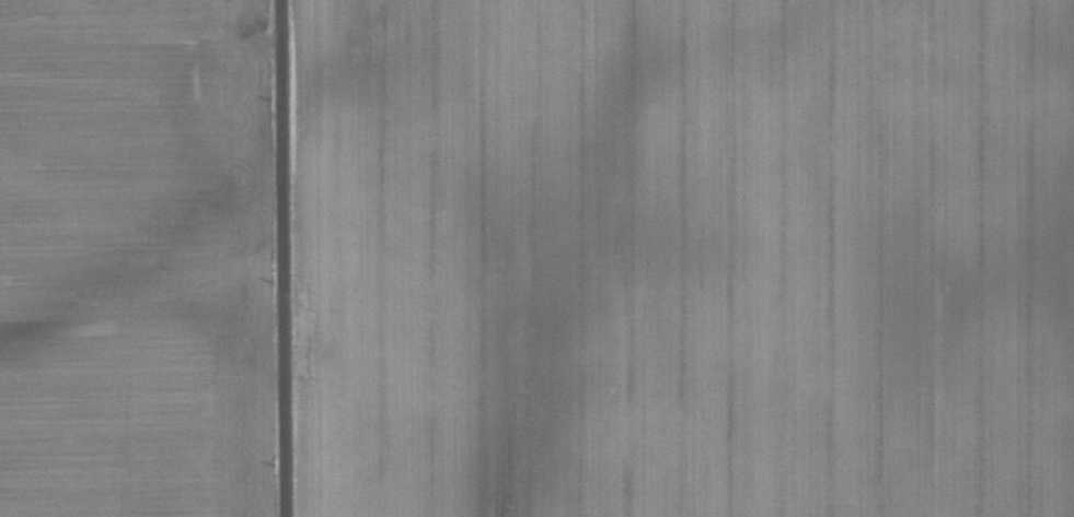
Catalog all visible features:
road: (279, 258)

